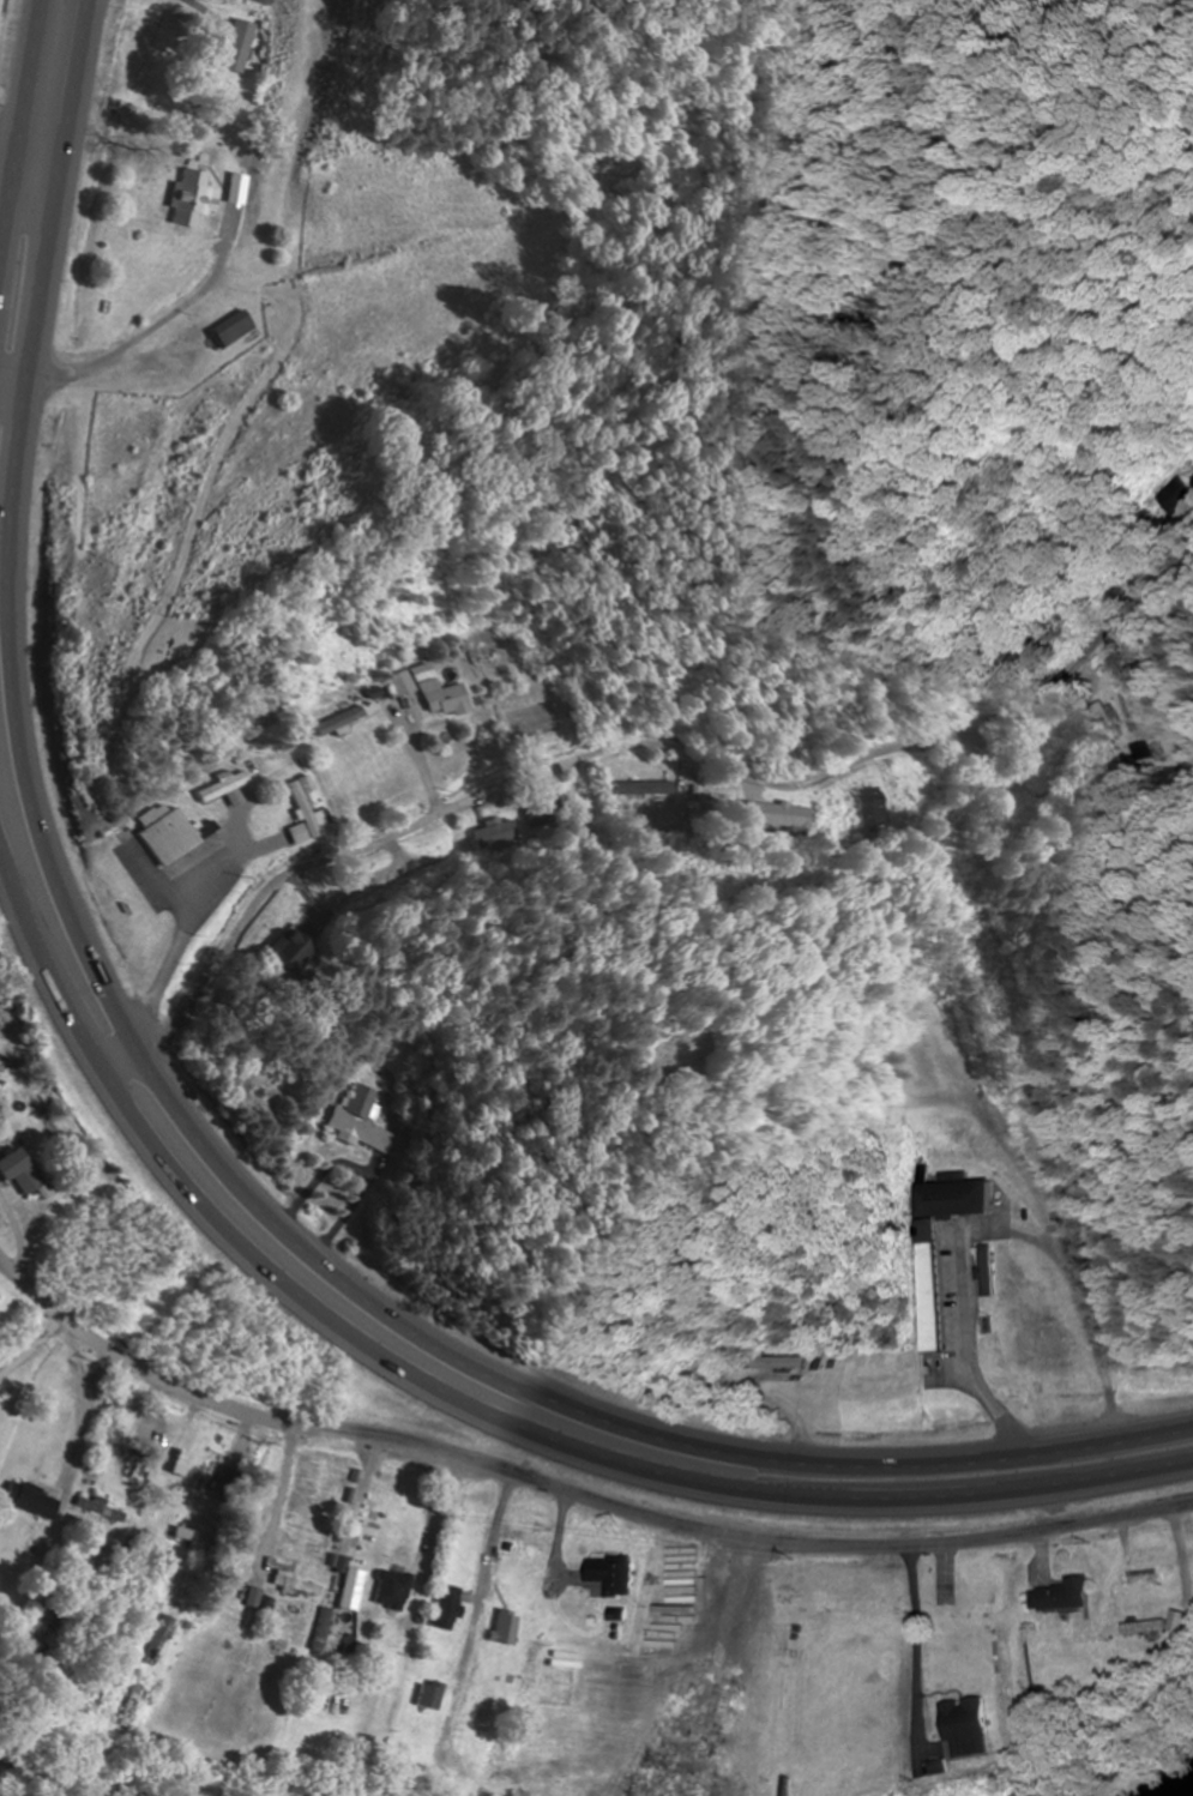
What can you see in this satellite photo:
road: (234, 0)
building: (236, 49)
road: (20, 126)
road: (34, 165)
building: (234, 189)
building: (185, 199)
building: (230, 330)
building: (1175, 500)
building: (402, 683)
building: (440, 699)
building: (1120, 721)
building: (339, 723)
road: (525, 783)
building: (224, 790)
building: (867, 808)
building: (302, 813)
building: (788, 818)
building: (173, 838)
road: (189, 860)
building: (273, 953)
road: (177, 1098)
building: (360, 1121)
building: (25, 1173)
building: (982, 1270)
building: (921, 1286)
road: (26, 1349)
building: (49, 1384)
road: (462, 1403)
building: (109, 1438)
building: (187, 1464)
building: (133, 1470)
building: (210, 1472)
road: (571, 1495)
building: (35, 1501)
building: (100, 1508)
building: (197, 1542)
building: (613, 1574)
building: (1140, 1579)
building: (296, 1585)
building: (356, 1590)
building: (394, 1590)
building: (1062, 1593)
building: (450, 1608)
road: (480, 1621)
building: (1140, 1627)
building: (507, 1628)
building: (158, 1641)
building: (432, 1696)
building: (132, 1707)
building: (964, 1728)
river: (1183, 1790)

